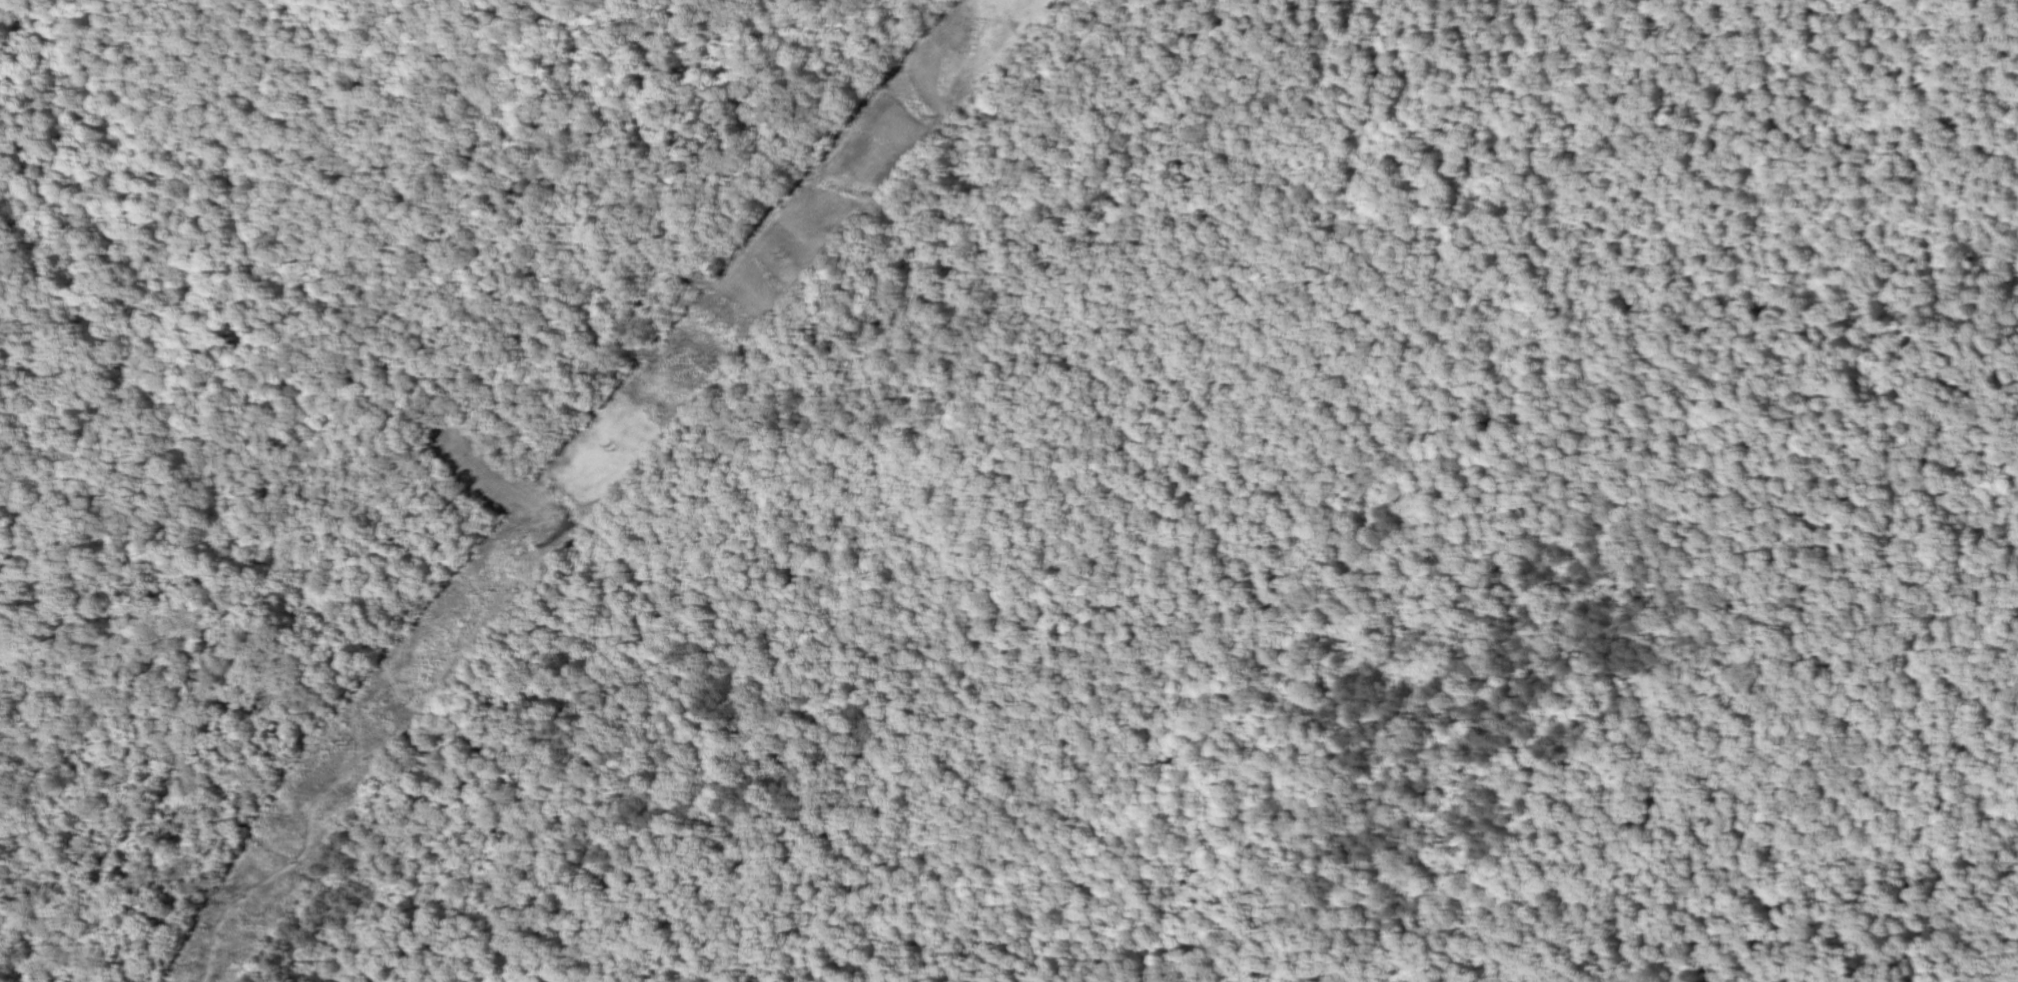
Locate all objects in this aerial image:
road: (290, 502)

